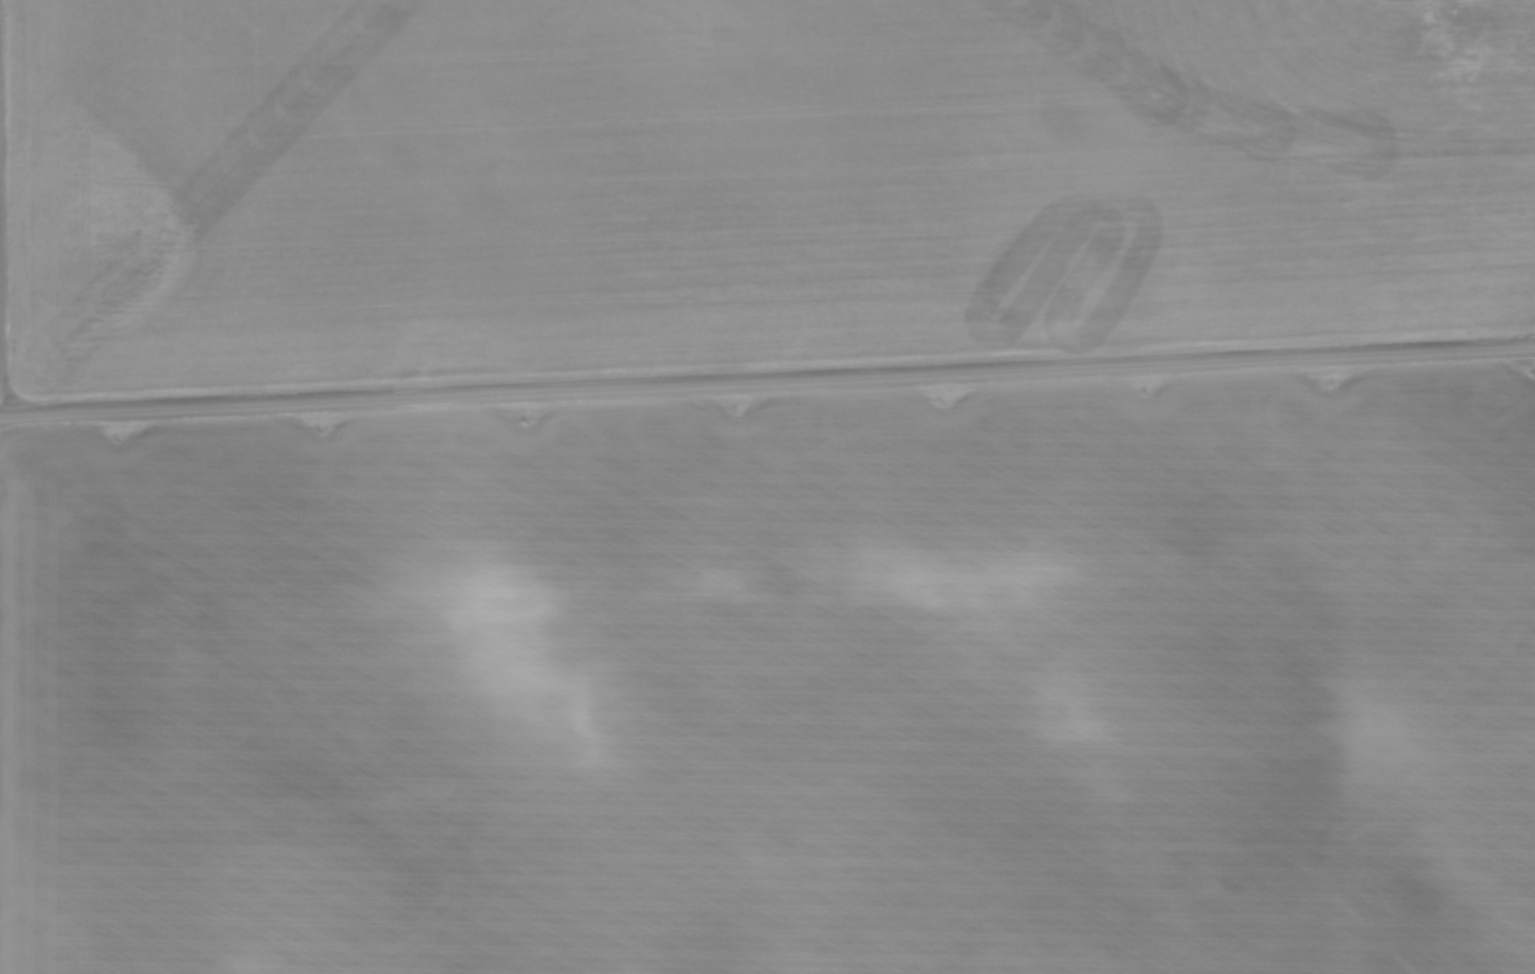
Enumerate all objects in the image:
crop: (744, 182)
road: (767, 382)
crop: (862, 701)

